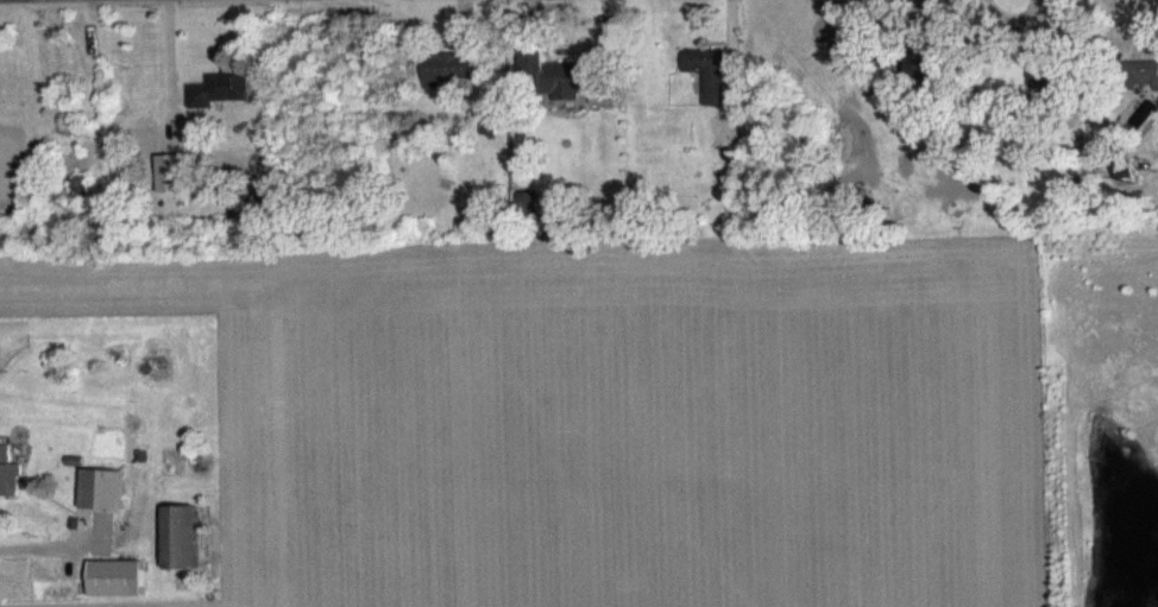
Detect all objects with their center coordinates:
building: (926, 80)
building: (452, 83)
building: (706, 86)
building: (552, 89)
building: (1049, 90)
building: (1145, 90)
building: (219, 102)
building: (486, 138)
building: (176, 186)
building: (7, 487)
building: (102, 502)
road: (43, 540)
building: (180, 551)
building: (115, 590)

